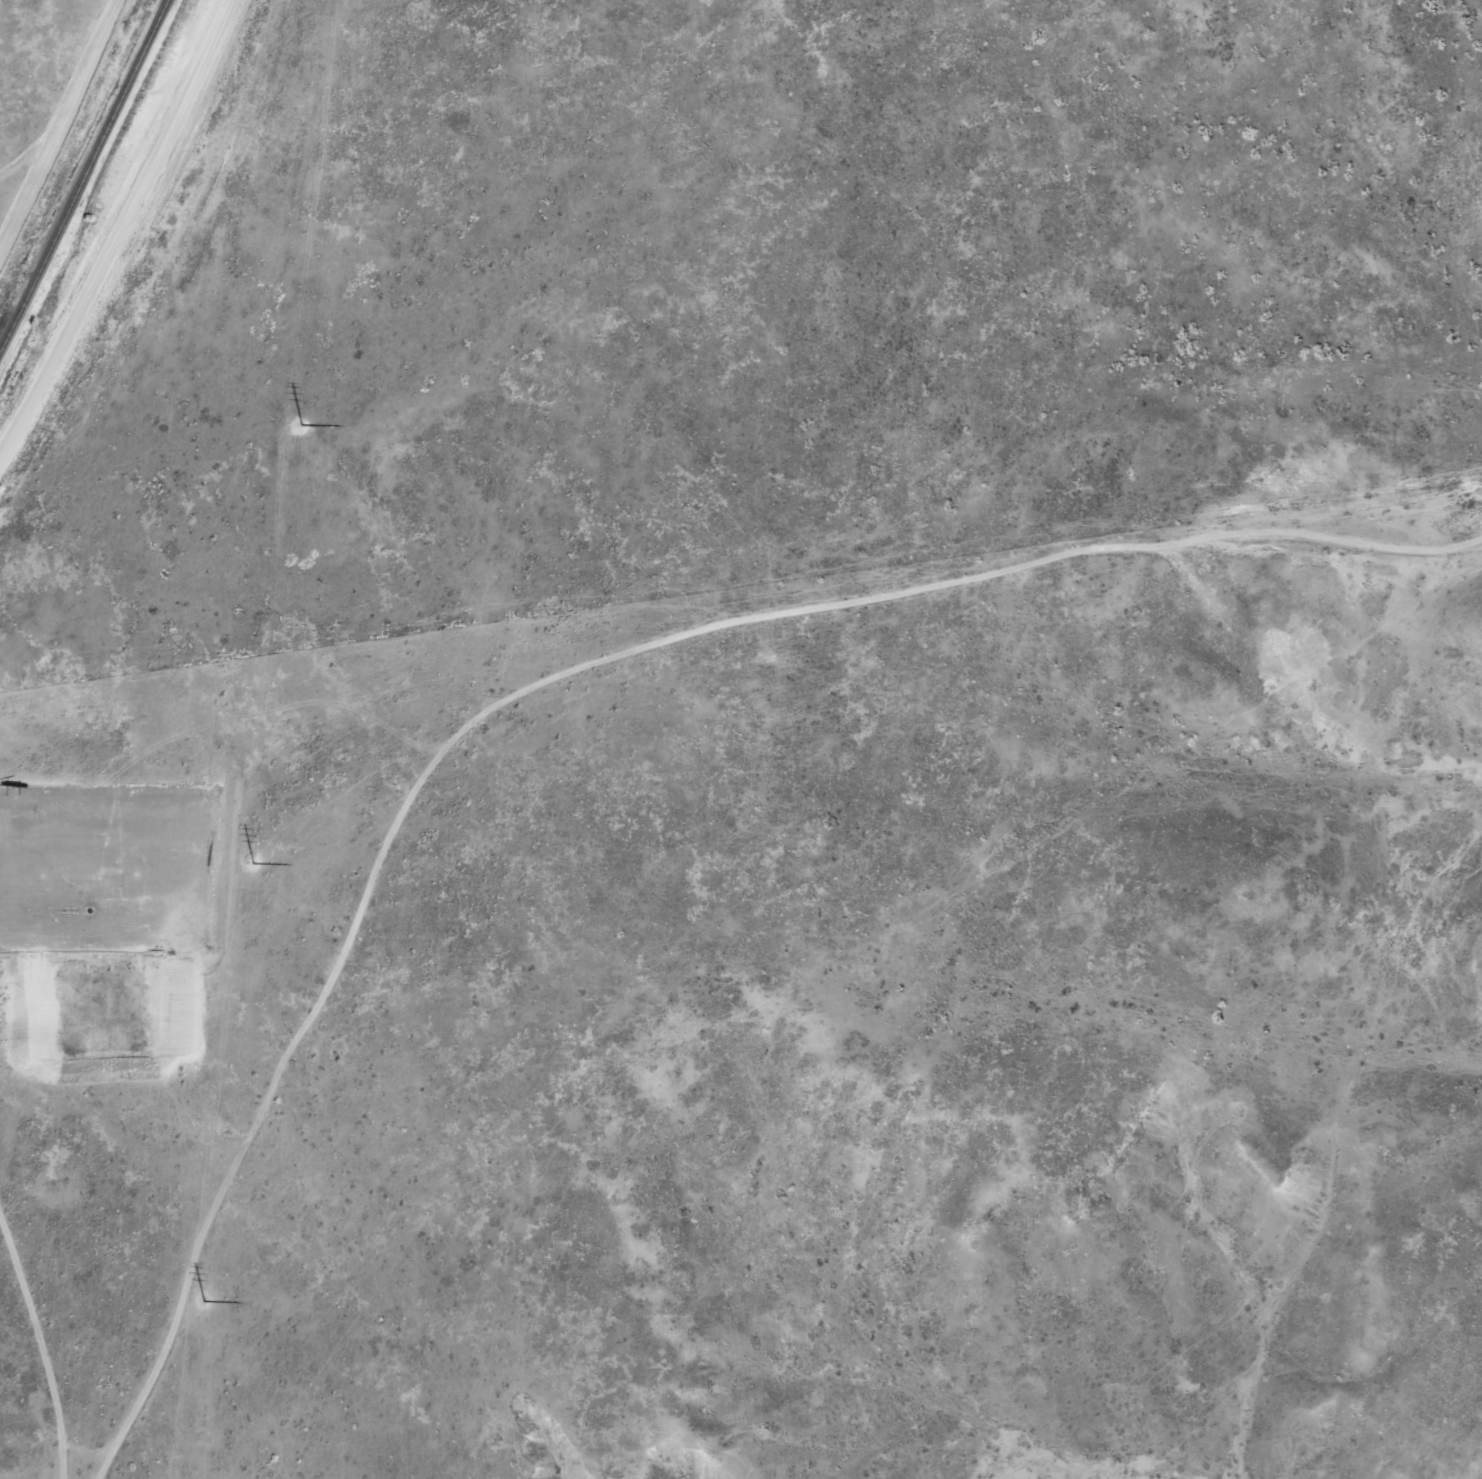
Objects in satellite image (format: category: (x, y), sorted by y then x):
railway: (82, 171)
road: (119, 229)
power tower: (298, 424)
road: (570, 677)
power tower: (249, 861)
power tower: (200, 1299)
road: (45, 1311)
road: (74, 1462)

